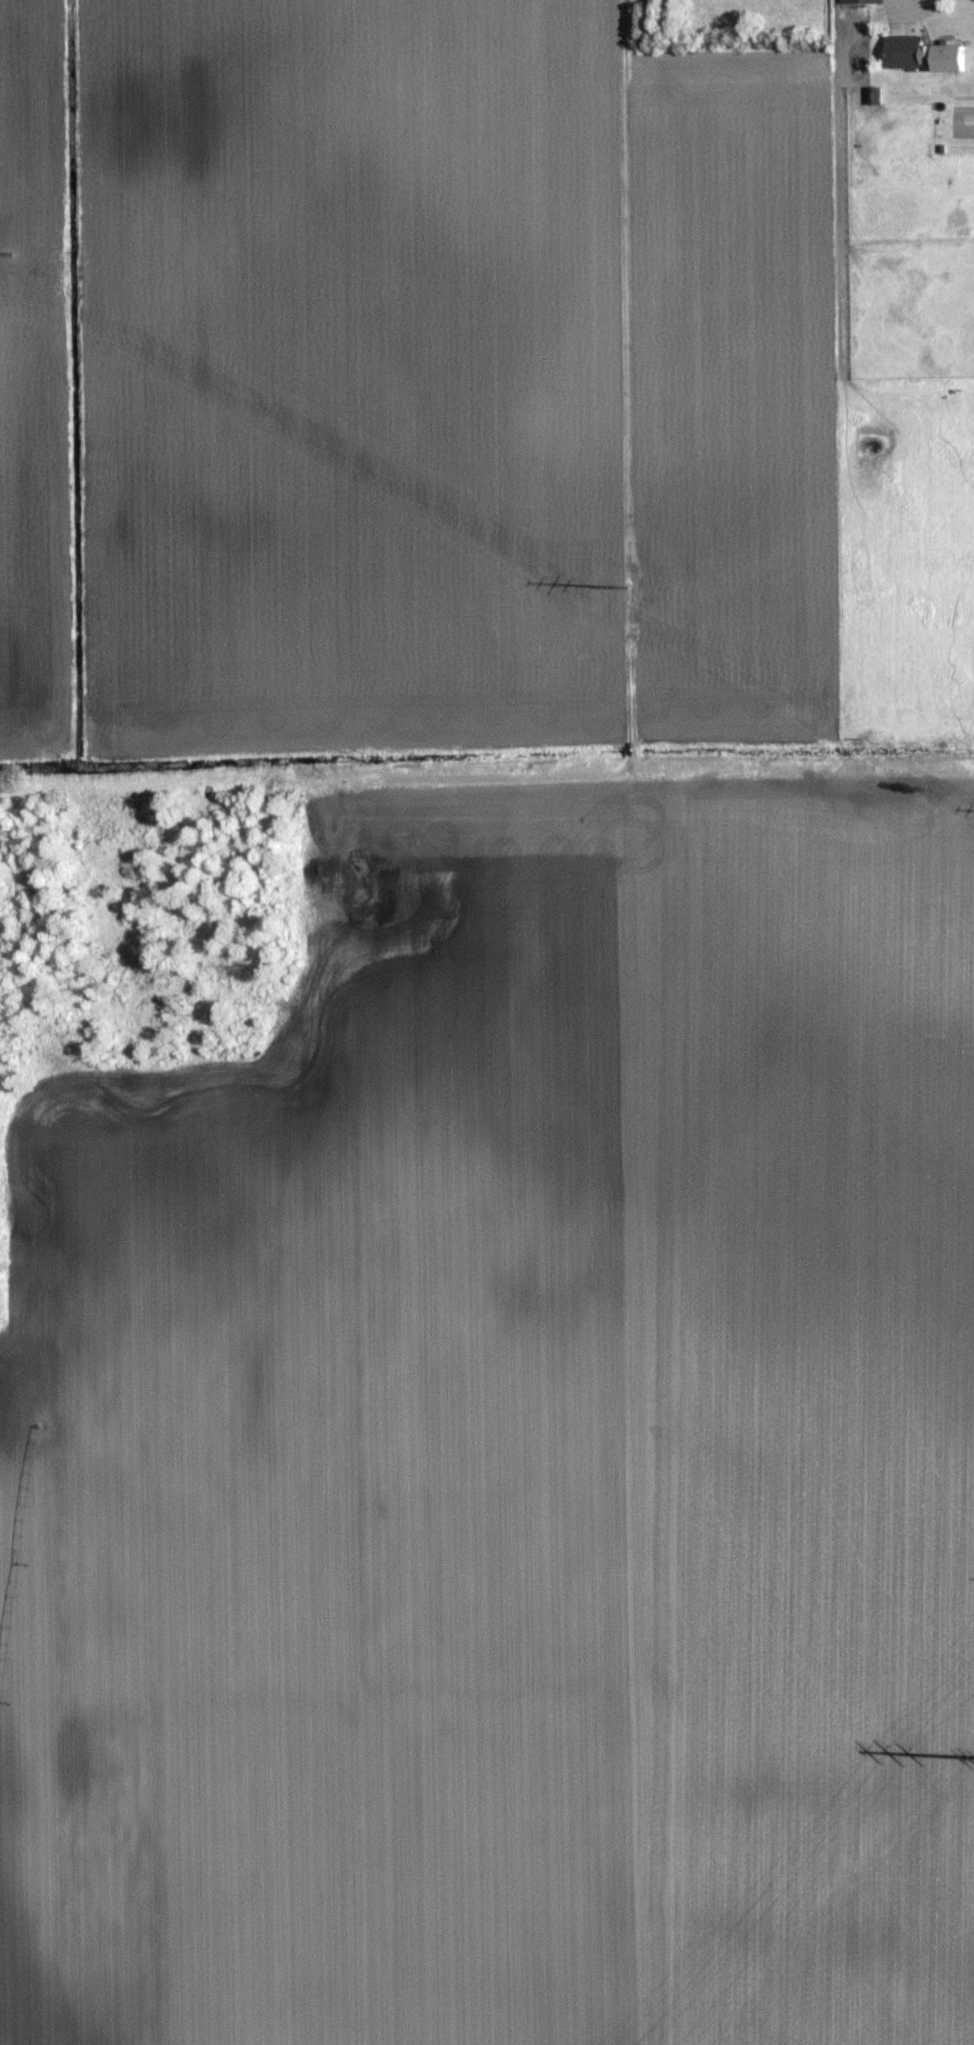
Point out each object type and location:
building: (861, 1)
road: (902, 11)
building: (903, 50)
building: (875, 95)

